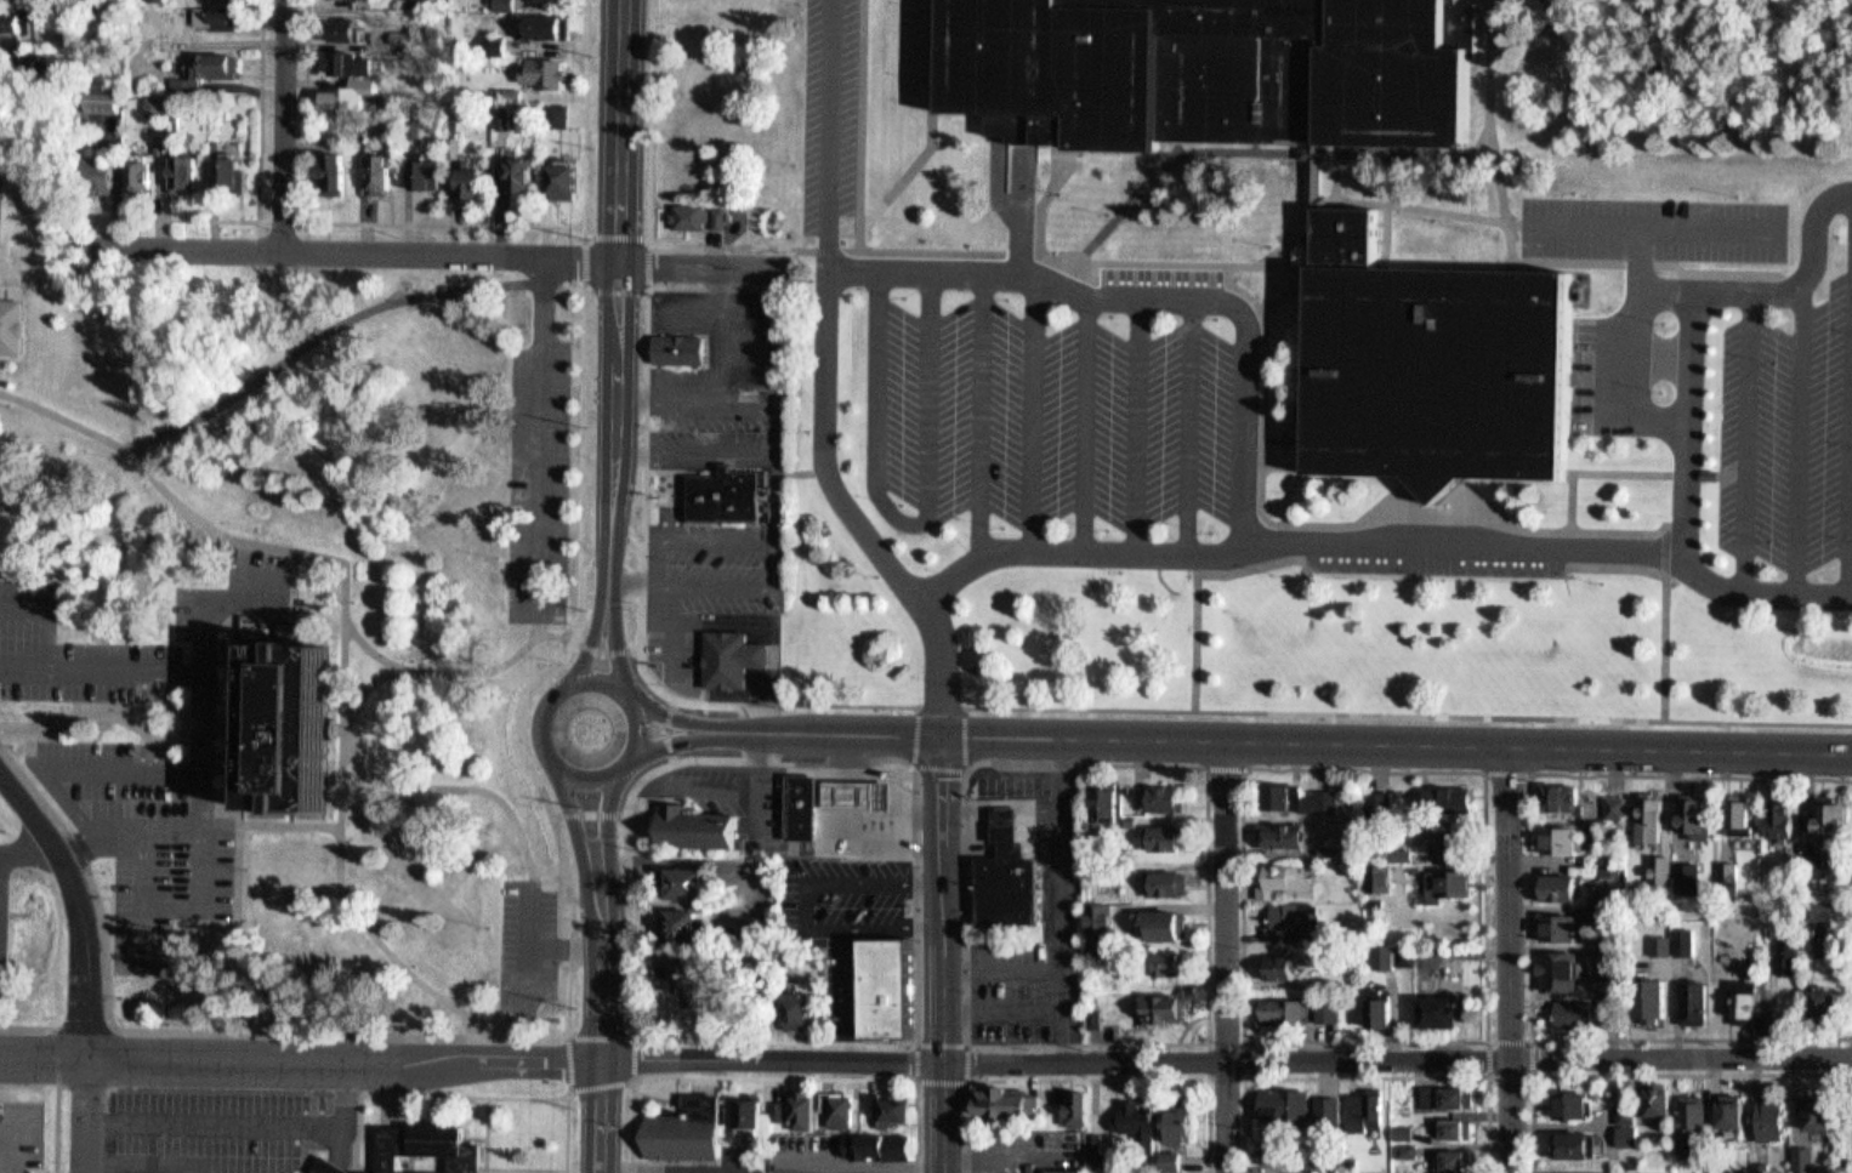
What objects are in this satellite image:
building: (157, 0)
building: (556, 0)
building: (417, 4)
building: (507, 5)
building: (215, 10)
building: (7, 15)
building: (546, 19)
building: (337, 21)
building: (348, 28)
building: (398, 29)
building: (492, 35)
building: (343, 56)
building: (201, 62)
building: (541, 63)
building: (1216, 68)
road: (1488, 78)
building: (510, 84)
building: (342, 85)
building: (97, 93)
building: (148, 96)
building: (153, 106)
building: (498, 106)
building: (555, 106)
parking lot: (830, 114)
building: (405, 118)
road: (283, 124)
road: (860, 124)
road: (930, 125)
building: (174, 126)
building: (154, 137)
building: (448, 138)
road: (259, 155)
road: (1170, 160)
building: (419, 164)
building: (178, 166)
building: (225, 166)
building: (326, 166)
building: (515, 166)
building: (132, 167)
building: (373, 169)
building: (563, 170)
building: (526, 171)
road: (1339, 176)
building: (464, 177)
building: (95, 181)
building: (476, 181)
building: (1316, 183)
road: (1044, 198)
road: (1425, 206)
road: (646, 207)
building: (700, 210)
road: (282, 220)
road: (449, 222)
parking lot: (1655, 228)
road: (830, 247)
road: (1279, 249)
road: (444, 252)
road: (1079, 257)
road: (1512, 260)
road: (608, 285)
road: (15, 287)
road: (1288, 289)
road: (614, 291)
road: (1148, 297)
road: (824, 313)
building: (8, 318)
road: (1695, 326)
building: (678, 348)
road: (286, 361)
building: (1441, 363)
parking lot: (1058, 395)
road: (1032, 414)
road: (979, 415)
road: (1080, 425)
road: (1137, 425)
road: (1188, 426)
parking lot: (1788, 434)
road: (1800, 434)
road: (1748, 440)
parking lot: (769, 450)
road: (581, 462)
road: (1285, 465)
road: (641, 467)
road: (1625, 476)
building: (727, 494)
road: (1421, 502)
road: (1577, 503)
road: (1470, 505)
road: (908, 523)
road: (1850, 523)
road: (1326, 524)
road: (1382, 542)
road: (632, 546)
road: (1669, 553)
road: (585, 563)
road: (1195, 594)
road: (19, 596)
road: (1668, 599)
road: (206, 602)
road: (266, 637)
road: (318, 638)
road: (613, 638)
road: (587, 640)
road: (603, 649)
building: (734, 657)
road: (938, 662)
road: (451, 666)
road: (590, 677)
road: (647, 678)
road: (794, 702)
road: (199, 710)
road: (341, 711)
road: (1408, 717)
road: (682, 718)
road: (513, 719)
road: (538, 719)
road: (125, 723)
road: (638, 725)
building: (286, 727)
road: (664, 730)
road: (683, 739)
road: (1121, 742)
parking lot: (131, 750)
road: (1676, 753)
road: (52, 759)
road: (1506, 764)
road: (1223, 768)
road: (964, 770)
road: (584, 776)
road: (638, 778)
parking lot: (1012, 778)
road: (420, 781)
building: (1552, 788)
building: (853, 790)
road: (915, 791)
building: (1098, 791)
building: (1293, 791)
building: (1161, 792)
building: (1445, 792)
building: (1604, 796)
building: (1375, 797)
building: (806, 803)
building: (1618, 805)
building: (1683, 807)
building: (1643, 808)
building: (1732, 808)
building: (1773, 808)
road: (1000, 810)
building: (1127, 810)
road: (586, 812)
building: (1819, 813)
building: (1657, 816)
building: (1699, 816)
building: (1744, 816)
road: (570, 819)
road: (1011, 819)
road: (243, 820)
road: (604, 820)
road: (141, 821)
building: (1784, 822)
building: (1834, 822)
building: (700, 825)
building: (1277, 827)
building: (1553, 830)
building: (1160, 831)
road: (1000, 832)
building: (1436, 836)
building: (1324, 841)
building: (1450, 842)
road: (25, 849)
building: (1379, 858)
building: (1651, 860)
building: (1597, 862)
building: (1664, 869)
building: (1716, 869)
building: (1678, 870)
building: (1283, 872)
building: (1692, 872)
building: (678, 875)
building: (1163, 875)
building: (1012, 877)
building: (1442, 877)
building: (1551, 877)
building: (1728, 877)
road: (140, 890)
road: (1529, 899)
road: (1061, 901)
building: (1587, 904)
parking lot: (2, 906)
road: (75, 907)
parking lot: (846, 909)
building: (1291, 912)
building: (1095, 913)
building: (674, 916)
building: (1159, 916)
building: (1551, 917)
building: (689, 922)
building: (1563, 926)
road: (101, 930)
building: (1674, 932)
building: (1651, 935)
building: (1597, 944)
building: (1777, 945)
building: (1380, 947)
road: (941, 953)
building: (1164, 955)
building: (1790, 955)
road: (1001, 958)
road: (1222, 960)
building: (1274, 960)
road: (1505, 961)
building: (1552, 961)
building: (684, 975)
parking lot: (1009, 980)
building: (880, 983)
building: (1734, 990)
building: (1646, 991)
building: (1814, 992)
building: (1685, 993)
building: (1658, 998)
road: (1001, 1001)
building: (1157, 1001)
building: (1698, 1001)
building: (1749, 1001)
building: (790, 1002)
building: (1830, 1002)
building: (1279, 1003)
building: (1324, 1003)
building: (1433, 1003)
building: (1375, 1004)
building: (1573, 1004)
building: (801, 1009)
building: (1090, 1009)
road: (56, 1020)
road: (600, 1029)
road: (654, 1034)
road: (1485, 1034)
road: (451, 1037)
road: (1206, 1038)
road: (915, 1041)
road: (567, 1042)
road: (52, 1052)
road: (1680, 1052)
road: (754, 1059)
road: (1642, 1071)
road: (768, 1074)
road: (1532, 1074)
road: (1367, 1076)
road: (1085, 1077)
road: (1240, 1078)
building: (1444, 1091)
building: (1652, 1094)
road: (466, 1095)
building: (1000, 1095)
building: (1567, 1095)
building: (1069, 1099)
building: (1278, 1100)
building: (1324, 1100)
building: (791, 1101)
building: (834, 1101)
building: (1360, 1101)
building: (888, 1103)
building: (1807, 1103)
building: (1726, 1104)
building: (742, 1105)
building: (1126, 1107)
building: (1762, 1107)
building: (1079, 1109)
building: (1738, 1110)
road: (80, 1115)
building: (1688, 1115)
building: (755, 1116)
building: (1623, 1116)
building: (1777, 1116)
building: (1170, 1118)
building: (1453, 1121)
building: (1399, 1122)
parking lot: (220, 1127)
road: (53, 1128)
building: (688, 1128)
parking lot: (17, 1133)
building: (1568, 1135)
building: (877, 1138)
building: (1267, 1141)
building: (1402, 1141)
building: (407, 1145)
building: (1793, 1149)
building: (1278, 1151)
building: (1166, 1152)
building: (1454, 1152)
building: (1348, 1154)
building: (1750, 1162)
building: (1059, 1166)
road: (492, 1168)
building: (1325, 1168)
building: (1653, 1168)
building: (858, 1169)
building: (1568, 1171)
building: (149, 1172)
building: (1165, 1172)
building: (1721, 1172)

